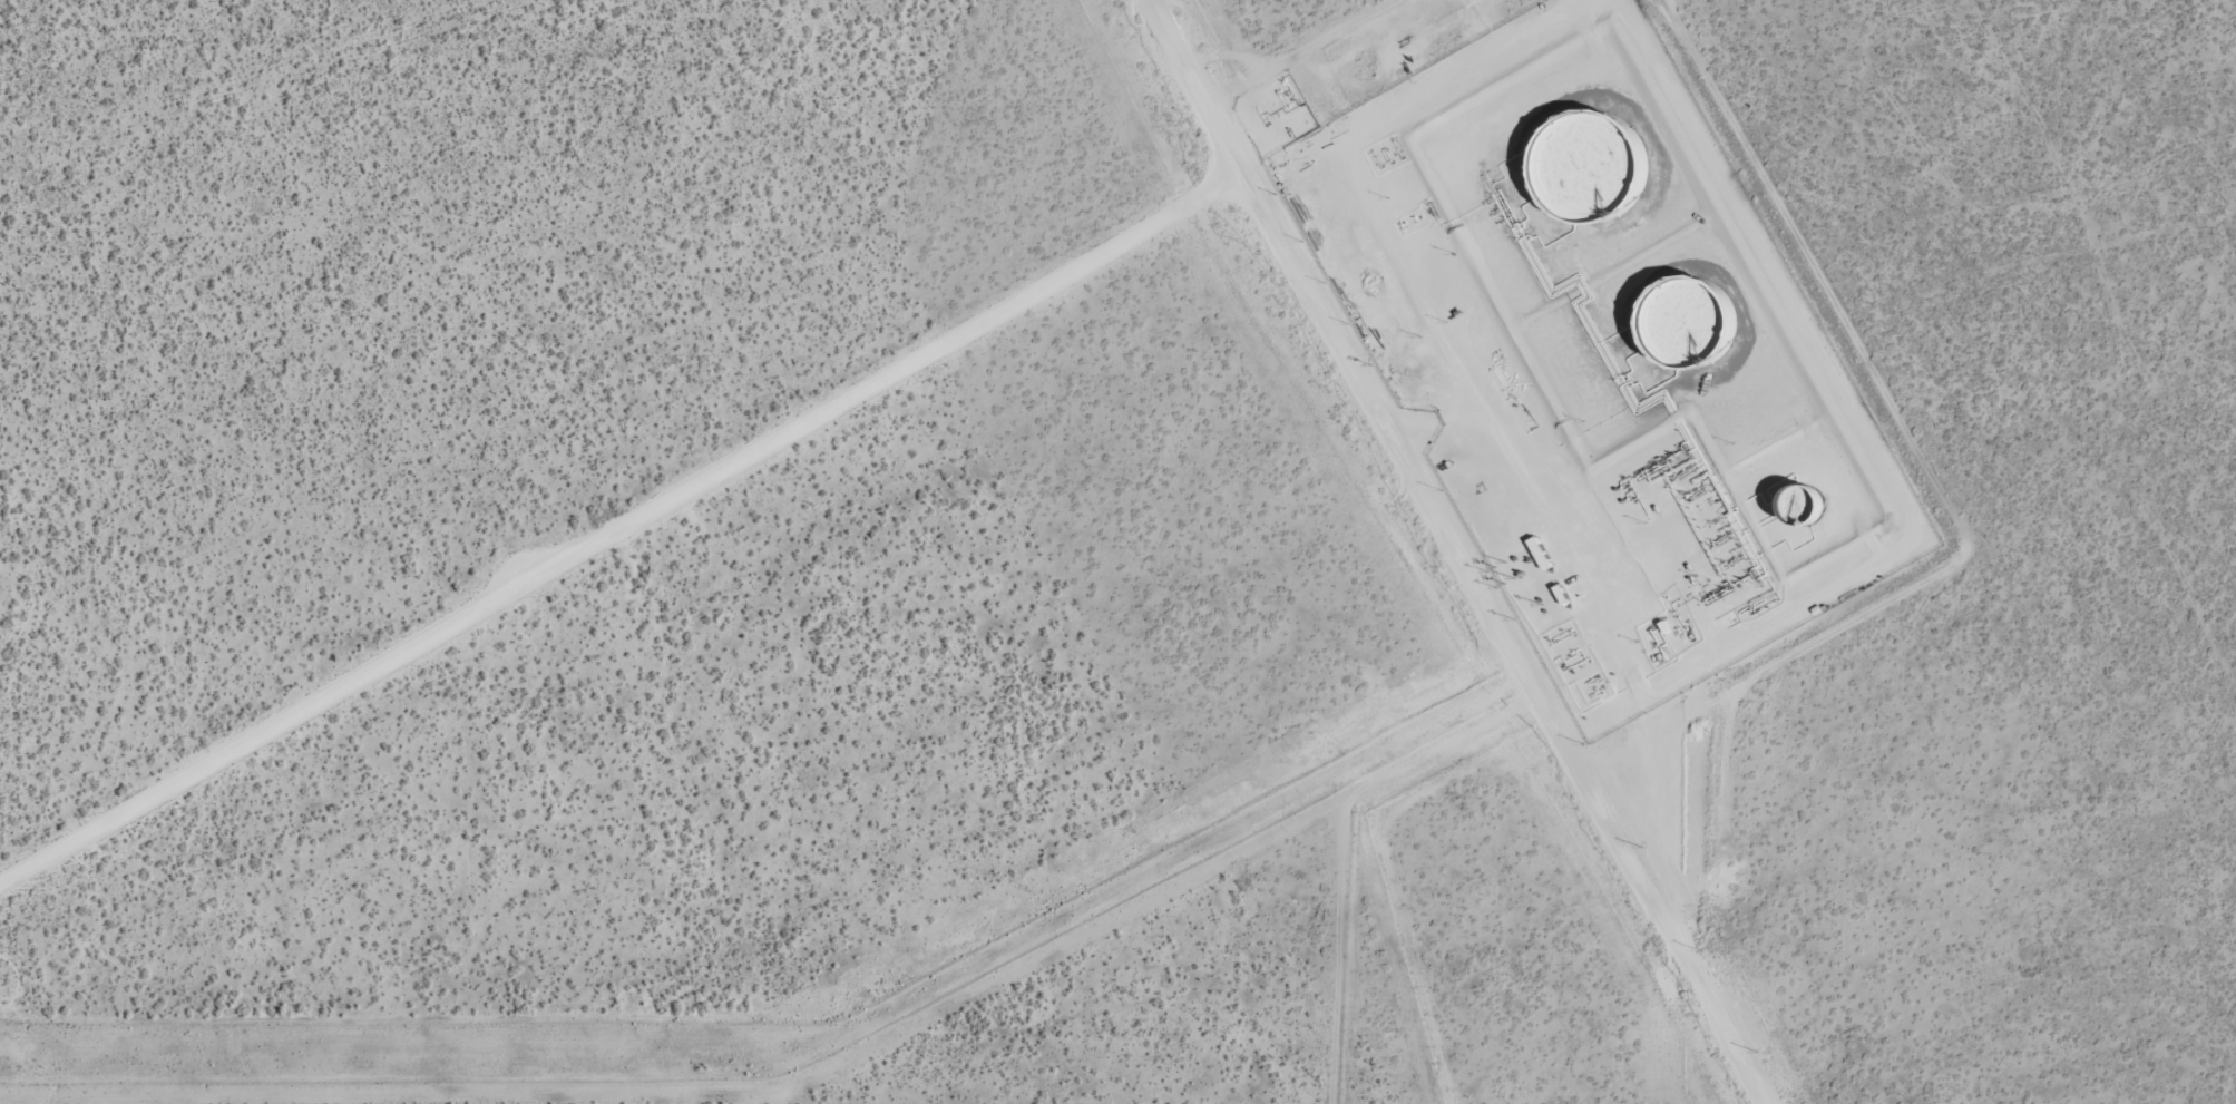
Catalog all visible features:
road: (615, 529)
road: (1437, 555)

